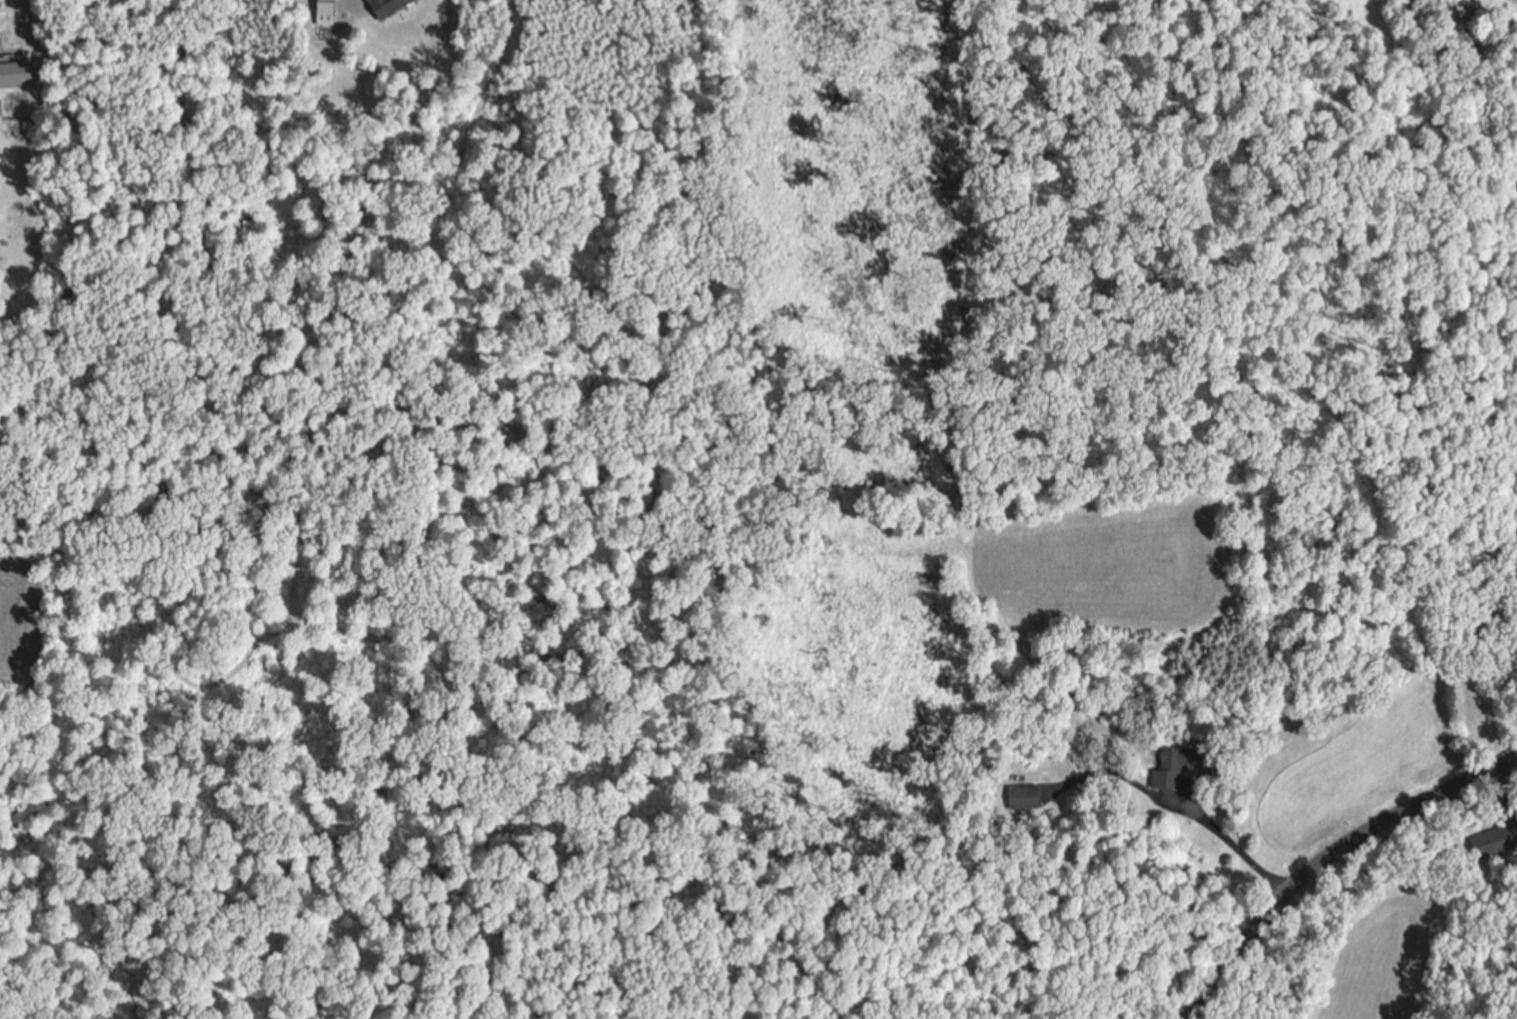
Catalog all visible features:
building: (391, 7)
building: (329, 8)
building: (18, 75)
building: (1217, 768)
road: (1479, 778)
building: (1029, 797)
road: (1224, 843)
road: (1295, 885)

